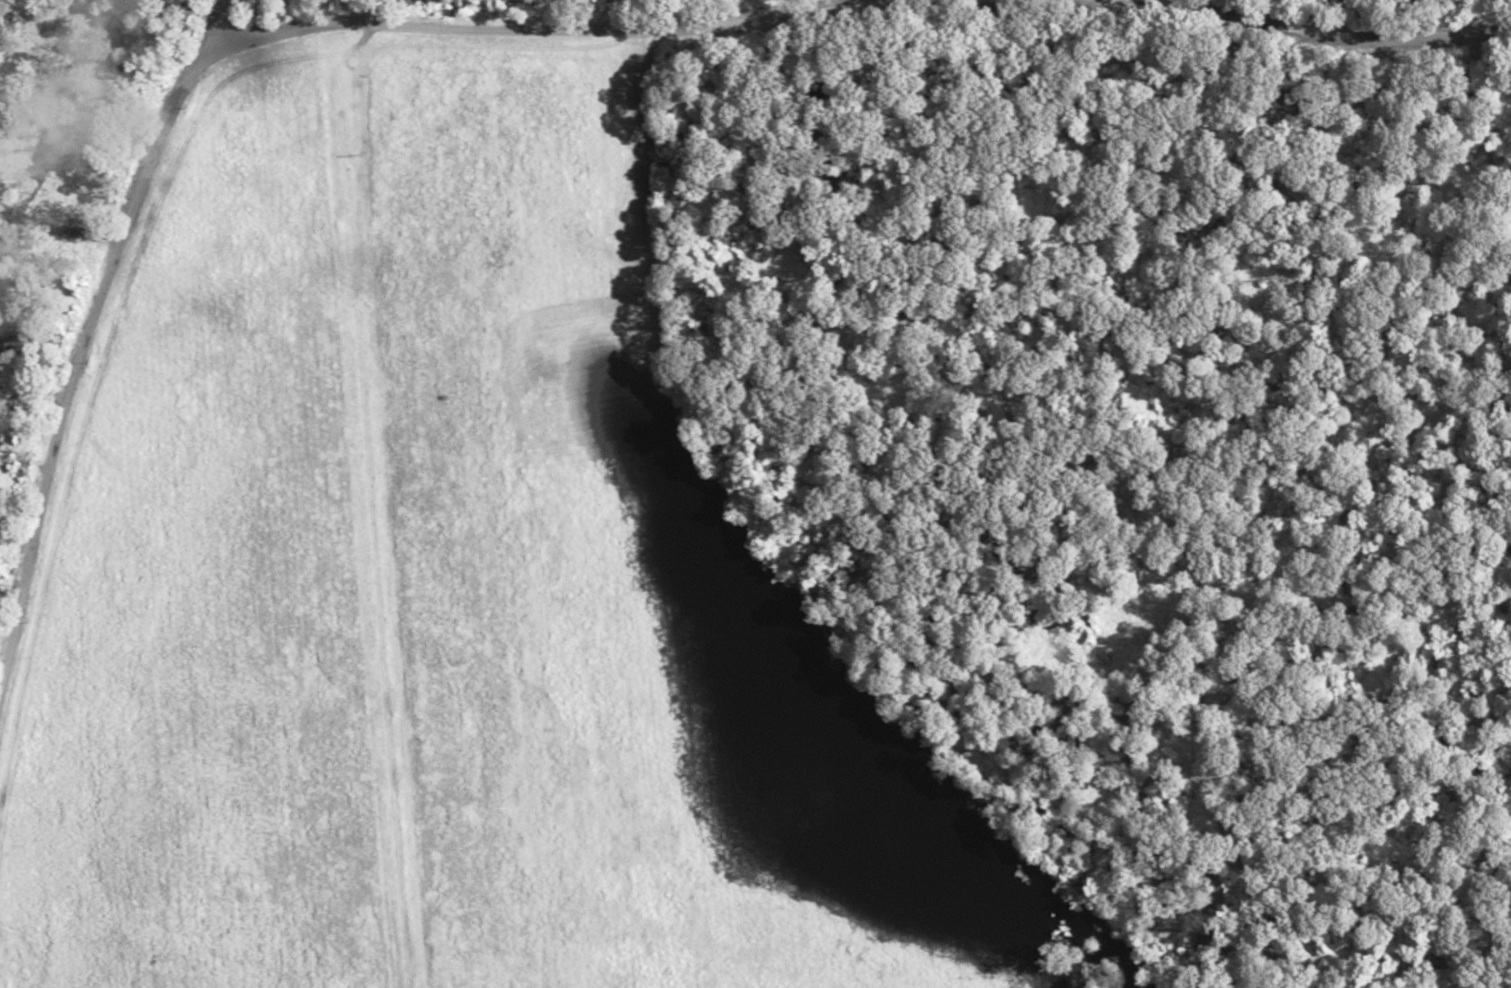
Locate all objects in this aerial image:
road: (584, 26)
road: (1364, 31)
road: (89, 323)
crop: (451, 592)
crop: (1464, 982)

